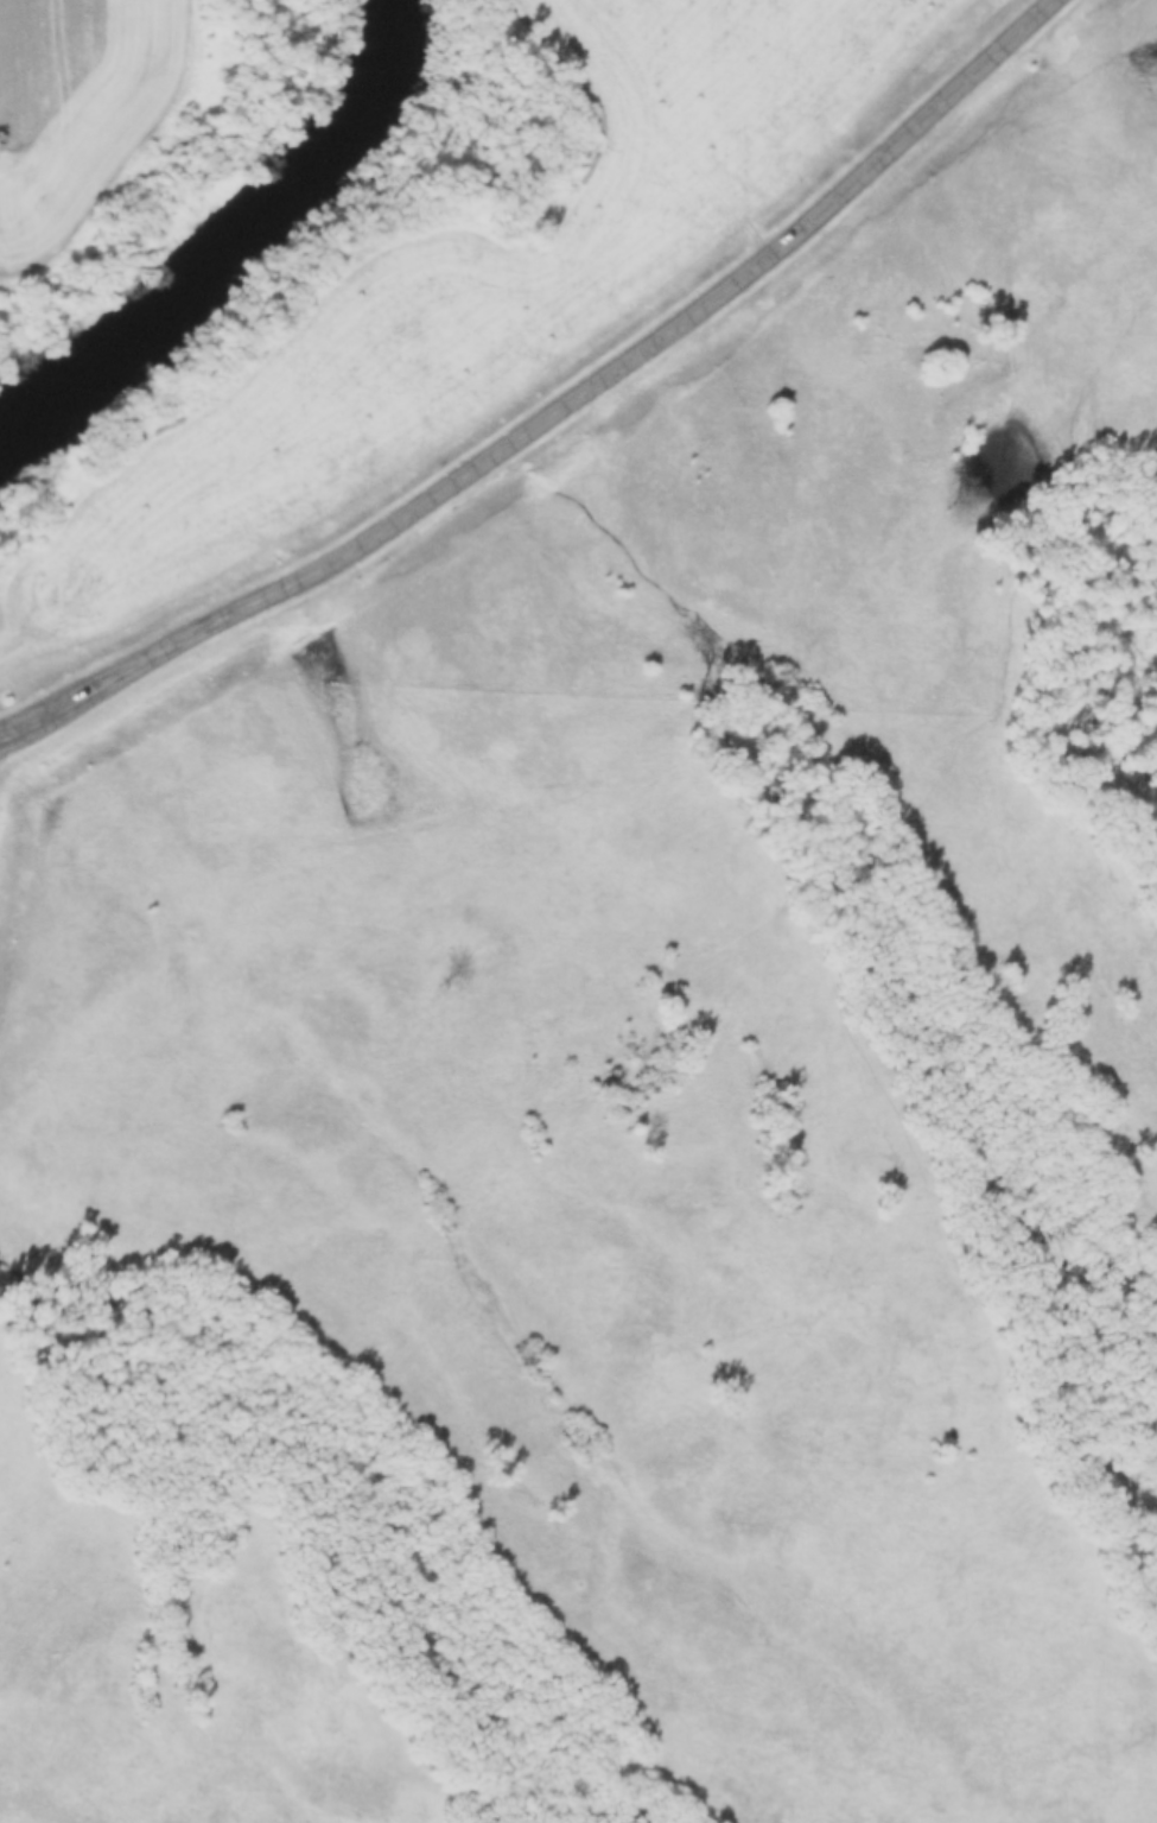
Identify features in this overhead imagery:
road: (141, 166)
river: (241, 249)
road: (561, 416)

